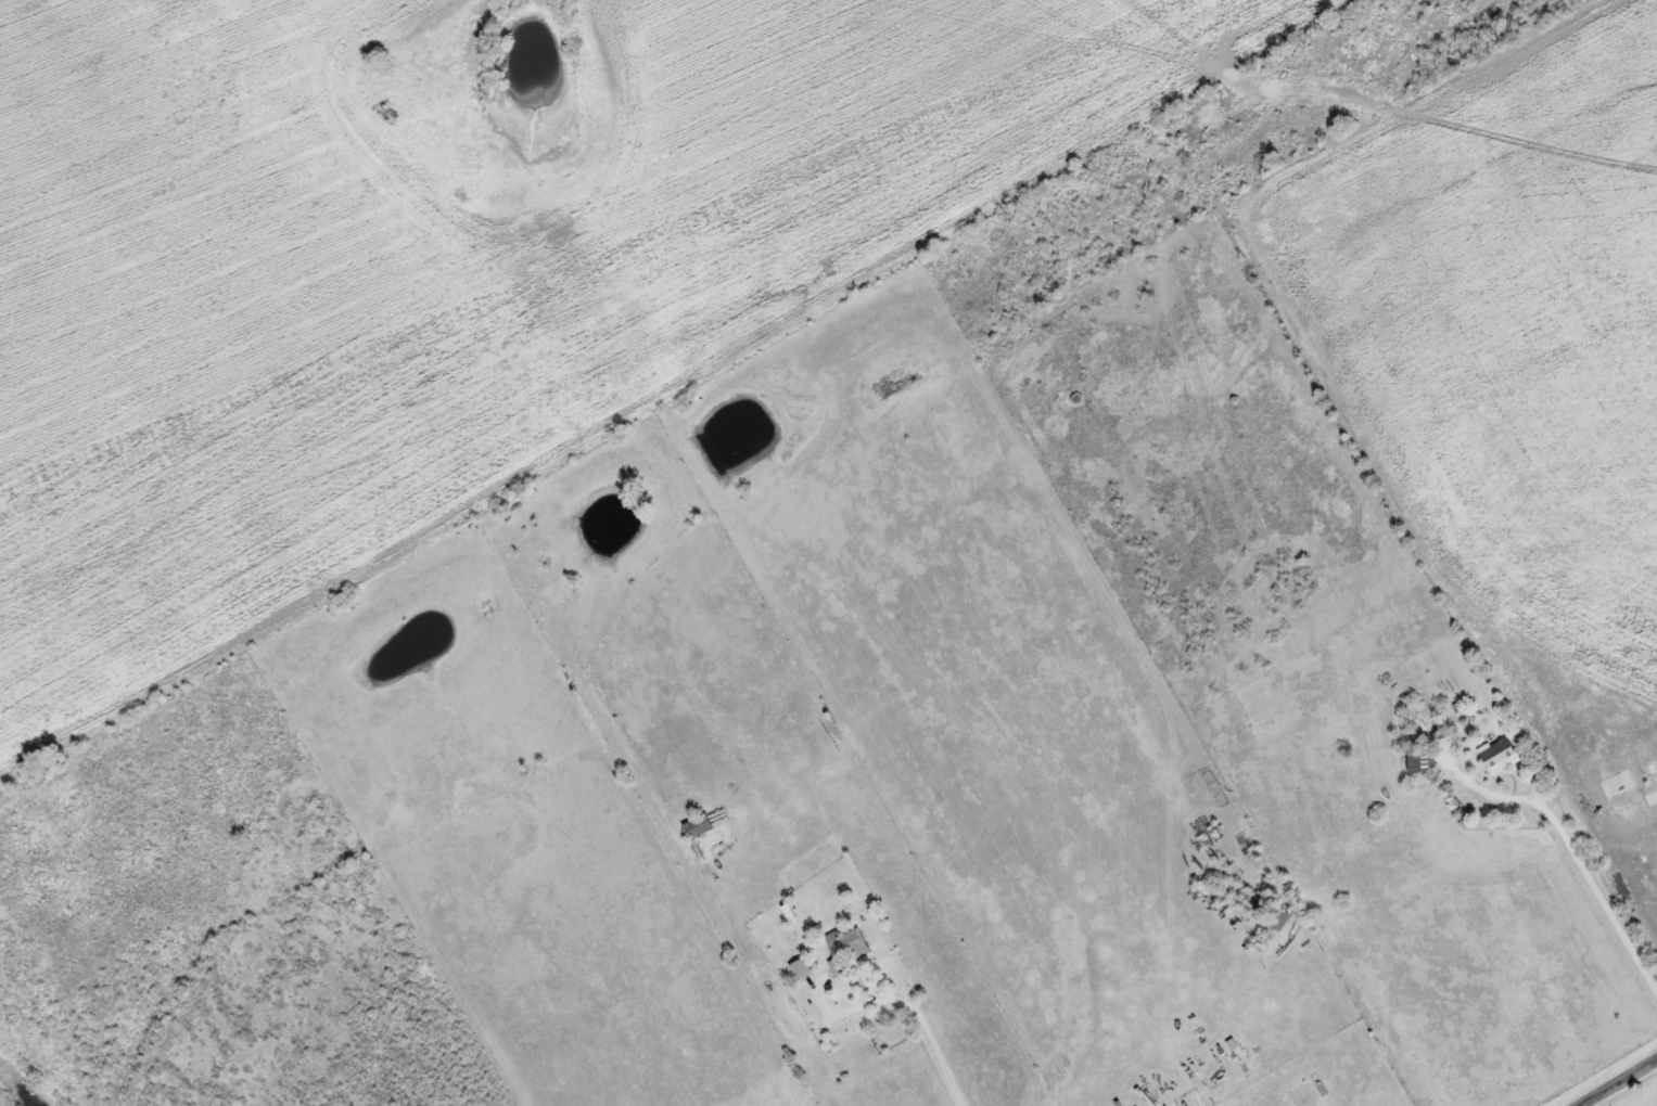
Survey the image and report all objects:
building: (1500, 755)
building: (1422, 760)
building: (699, 824)
building: (1280, 918)
building: (847, 948)
road: (1635, 1092)

